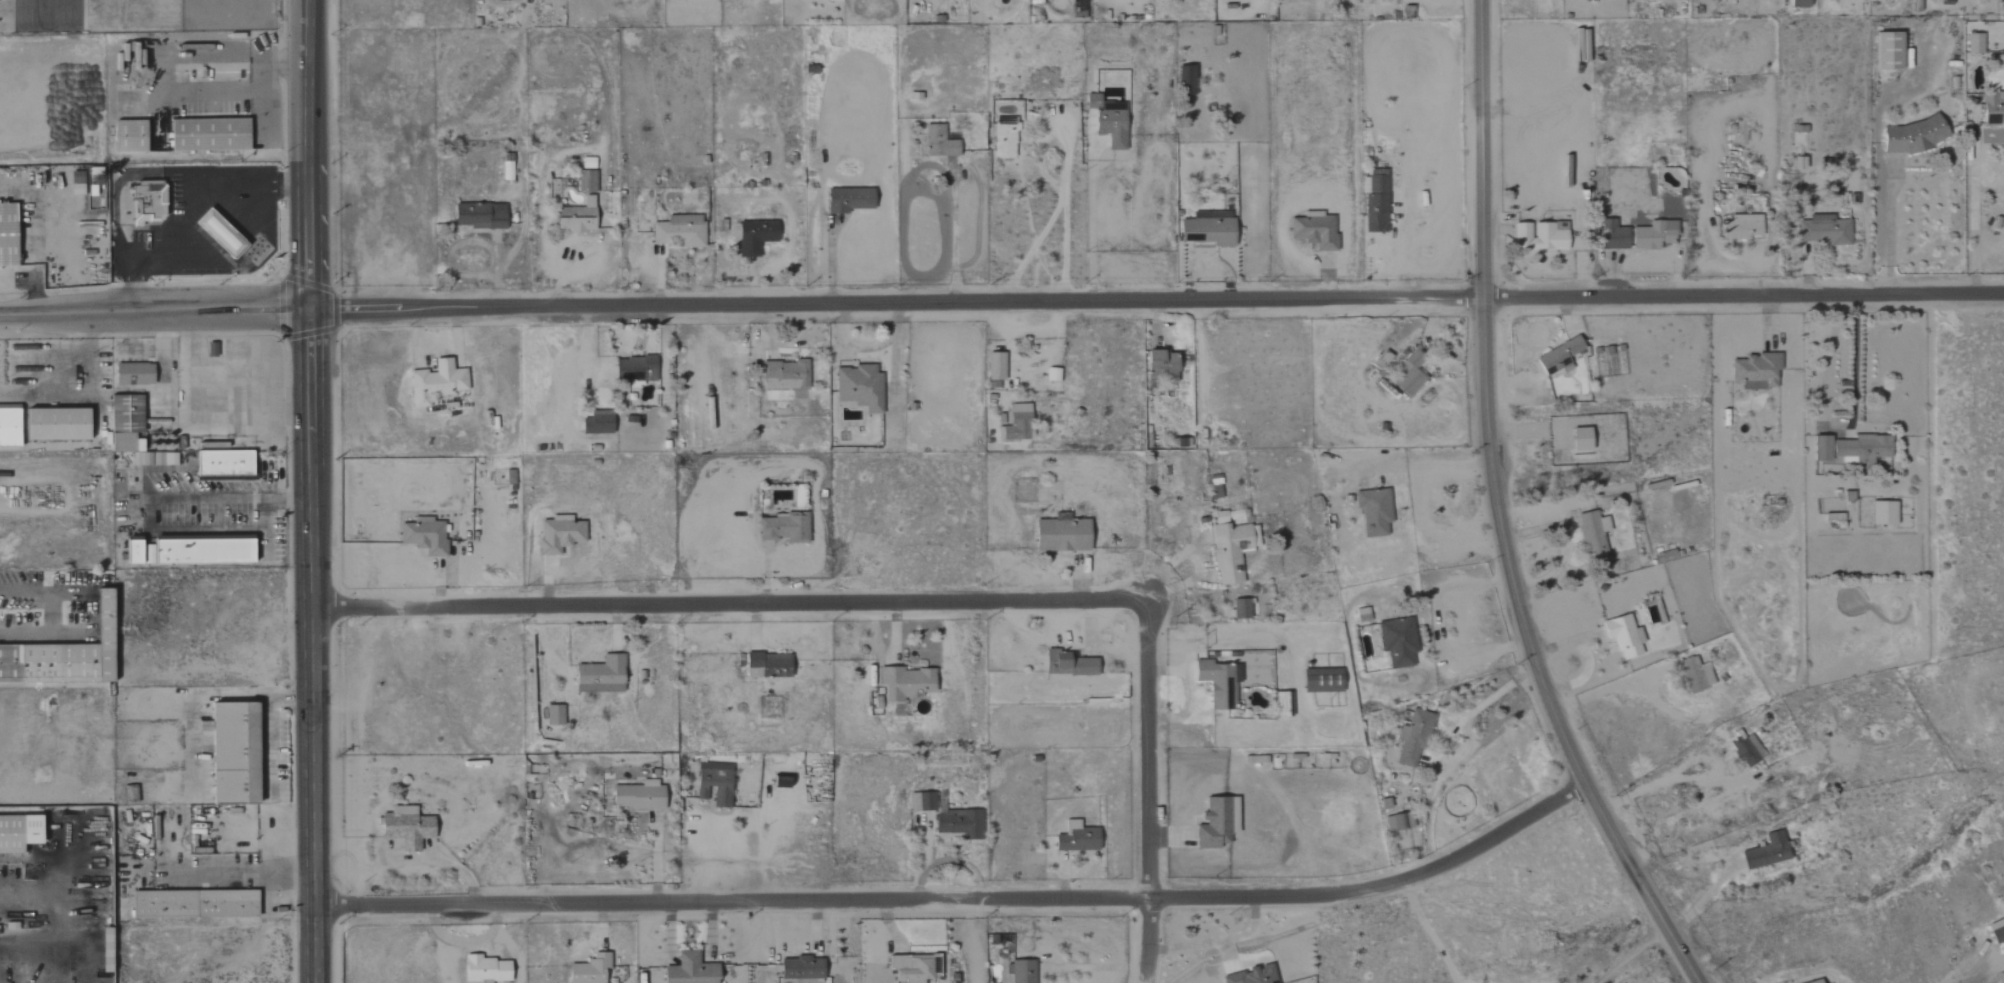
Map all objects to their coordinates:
building: (1798, 3)
building: (1974, 43)
building: (1887, 51)
road: (163, 63)
building: (1185, 79)
building: (1992, 108)
building: (1106, 123)
building: (206, 134)
building: (127, 136)
building: (1909, 136)
building: (937, 142)
building: (1002, 142)
building: (506, 171)
building: (584, 181)
road: (1062, 185)
building: (74, 189)
building: (847, 200)
building: (145, 203)
building: (1375, 205)
road: (185, 207)
road: (1089, 214)
building: (478, 216)
building: (575, 217)
building: (1740, 227)
road: (1884, 228)
building: (1313, 230)
building: (1824, 230)
road: (1972, 230)
building: (216, 233)
building: (6, 235)
building: (676, 235)
building: (1652, 235)
building: (754, 236)
building: (1539, 236)
building: (1611, 236)
road: (954, 240)
road: (1063, 246)
road: (831, 258)
road: (1157, 303)
road: (154, 314)
building: (1558, 357)
building: (1159, 362)
building: (994, 366)
building: (634, 369)
building: (1754, 371)
building: (131, 374)
building: (783, 374)
building: (1051, 374)
building: (1409, 374)
building: (434, 382)
building: (858, 387)
building: (596, 423)
building: (1015, 423)
building: (52, 424)
road: (1840, 424)
building: (7, 427)
building: (130, 431)
building: (1579, 439)
building: (1820, 448)
building: (1861, 449)
building: (221, 463)
road: (1428, 467)
road: (310, 491)
road: (191, 498)
building: (1372, 512)
building: (1882, 513)
road: (1496, 514)
building: (783, 528)
road: (206, 530)
building: (557, 534)
building: (1060, 534)
building: (1592, 534)
building: (1229, 547)
building: (186, 552)
road: (23, 593)
road: (727, 606)
building: (1239, 609)
building: (1361, 614)
road: (1439, 625)
building: (1622, 636)
road: (45, 637)
building: (1397, 642)
building: (62, 656)
building: (1070, 663)
building: (766, 665)
building: (1695, 675)
building: (599, 676)
building: (1321, 680)
building: (904, 683)
building: (1218, 683)
road: (1606, 690)
road: (1491, 697)
building: (552, 715)
building: (1411, 739)
building: (1746, 751)
building: (230, 754)
road: (1685, 779)
building: (779, 782)
building: (713, 787)
road: (1144, 793)
building: (128, 794)
building: (637, 796)
building: (921, 802)
building: (1398, 822)
building: (1215, 823)
building: (957, 824)
building: (405, 827)
building: (17, 833)
building: (1075, 838)
building: (1766, 852)
road: (226, 874)
road: (1705, 896)
road: (961, 902)
building: (191, 904)
building: (1996, 931)
road: (1426, 933)
road: (1215, 940)
building: (103, 948)
road: (1630, 953)
building: (799, 968)
building: (909, 968)
building: (484, 970)
building: (588, 970)
building: (689, 970)
building: (1019, 971)
building: (1251, 976)
building: (1817, 982)

